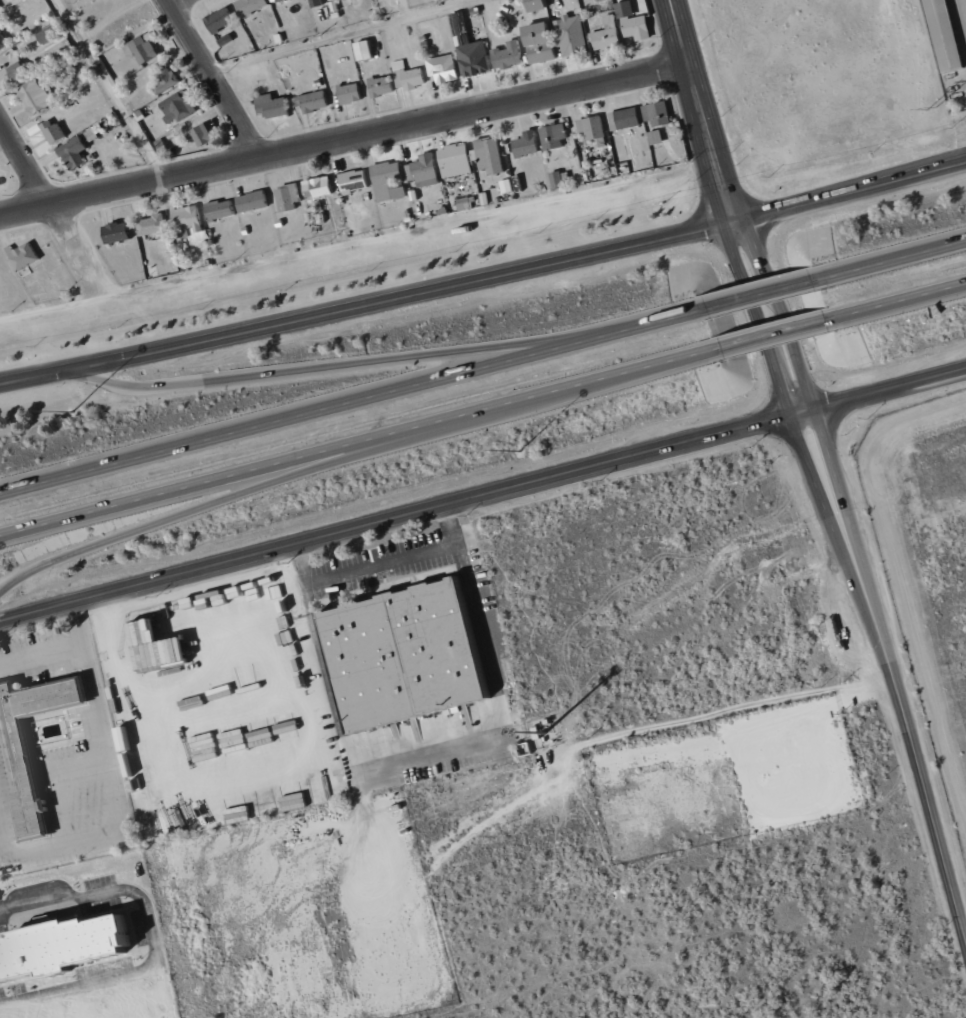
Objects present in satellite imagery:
building: (275, 0)
road: (175, 2)
building: (318, 2)
building: (541, 4)
building: (252, 5)
building: (221, 19)
building: (635, 22)
building: (49, 34)
road: (342, 34)
building: (608, 34)
building: (938, 35)
building: (572, 39)
building: (3, 40)
building: (543, 41)
building: (146, 48)
building: (367, 49)
building: (471, 51)
building: (509, 55)
building: (67, 67)
building: (444, 68)
building: (19, 71)
building: (409, 76)
road: (216, 78)
building: (165, 81)
building: (382, 86)
building: (351, 93)
building: (38, 95)
building: (315, 101)
building: (275, 105)
building: (179, 106)
power tower: (931, 108)
road: (702, 111)
building: (658, 113)
building: (626, 118)
building: (593, 129)
building: (55, 132)
building: (204, 134)
building: (555, 136)
building: (657, 137)
road: (344, 140)
building: (529, 143)
building: (75, 152)
building: (490, 155)
building: (457, 160)
building: (424, 168)
building: (561, 179)
building: (355, 181)
building: (391, 181)
building: (320, 186)
building: (289, 197)
building: (254, 201)
building: (466, 203)
building: (222, 209)
road: (56, 212)
building: (190, 217)
building: (154, 224)
building: (119, 231)
road: (914, 253)
building: (27, 256)
road: (521, 270)
road: (921, 293)
road: (754, 295)
road: (778, 312)
road: (755, 319)
road: (772, 332)
road: (359, 361)
road: (661, 361)
road: (37, 377)
road: (889, 389)
road: (322, 408)
road: (800, 412)
road: (327, 448)
road: (322, 464)
road: (840, 495)
road: (820, 500)
road: (394, 518)
road: (379, 565)
building: (162, 647)
building: (398, 655)
road: (42, 657)
road: (495, 687)
road: (913, 770)
building: (27, 776)
road: (116, 786)
building: (67, 949)

